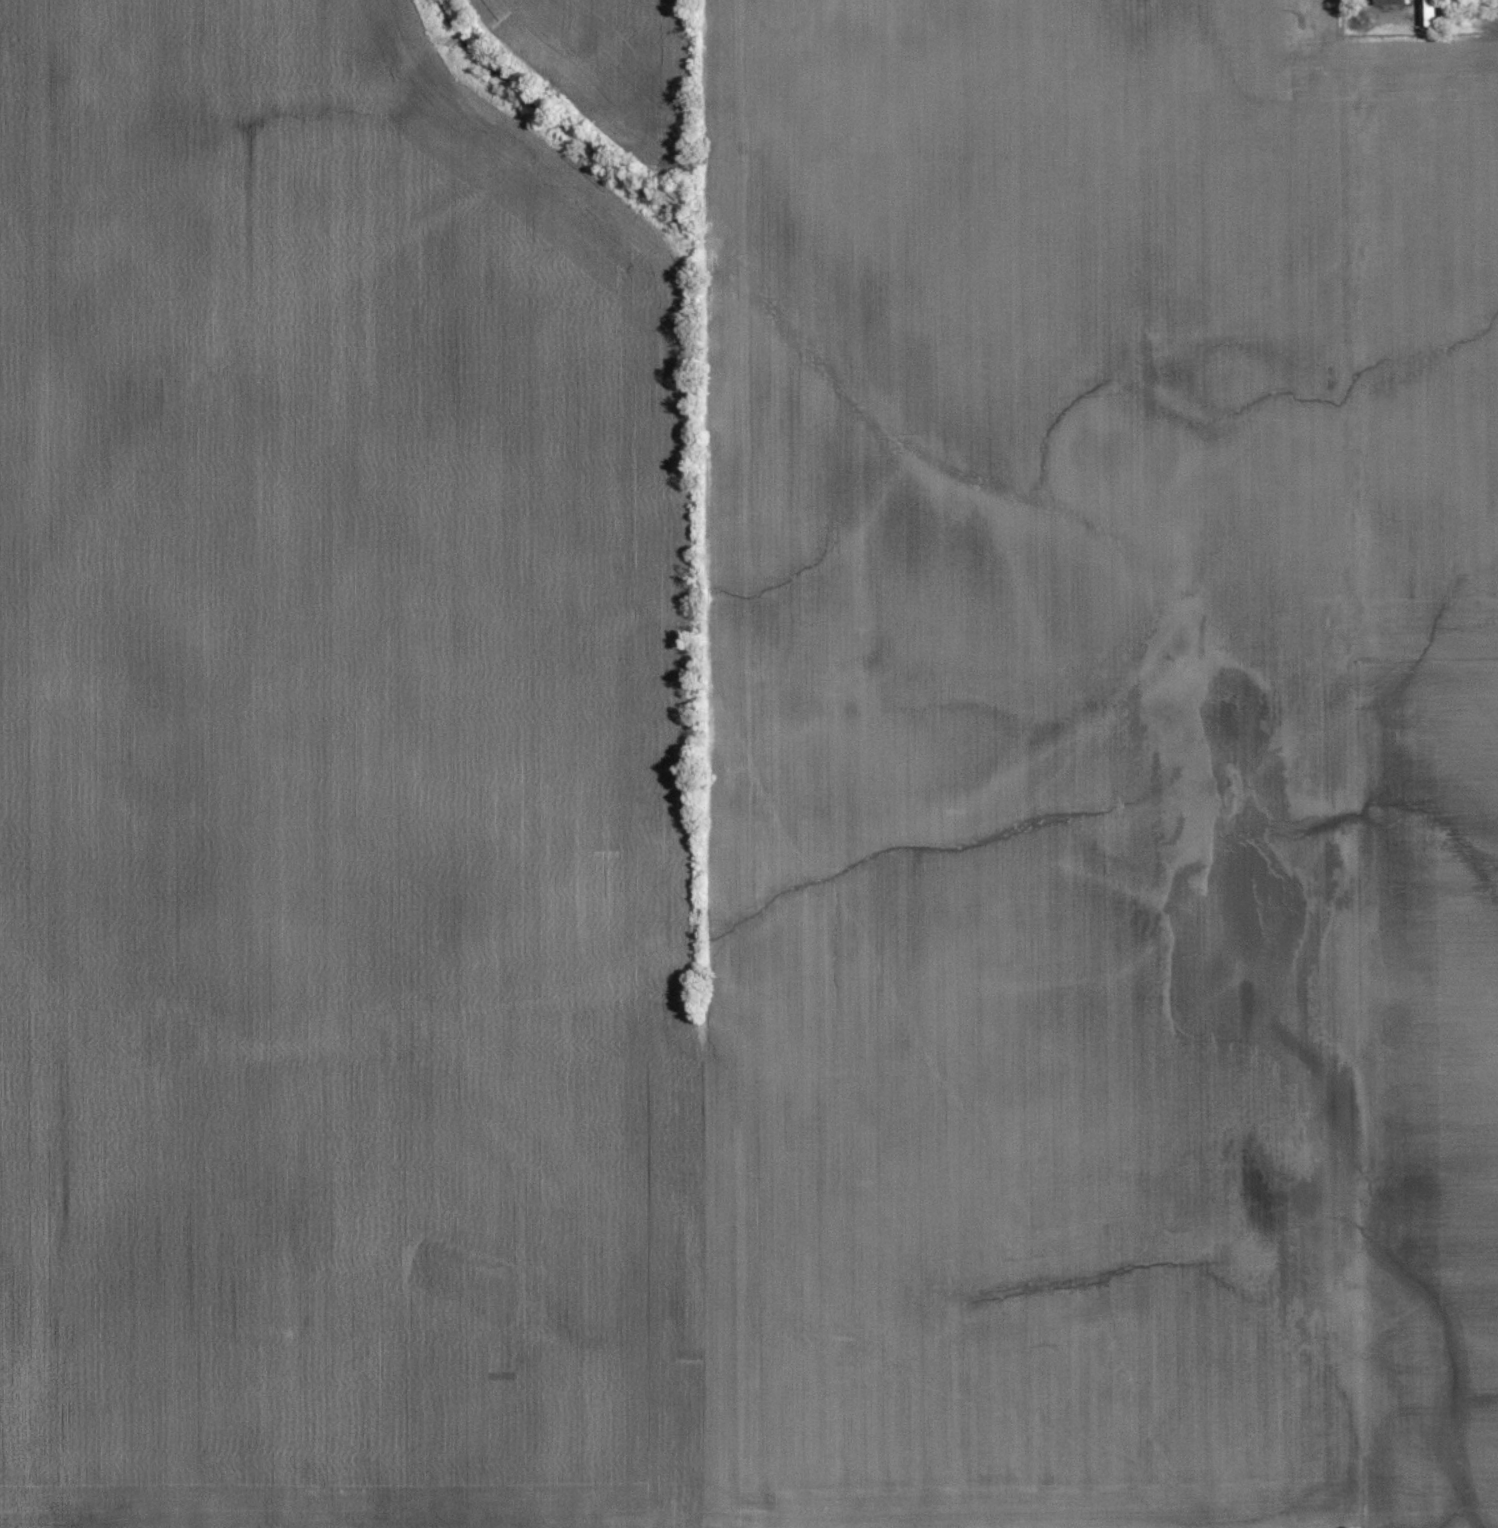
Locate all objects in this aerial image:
building: (1392, 1)
crop: (608, 63)
crop: (1026, 330)
crop: (1433, 344)
crop: (337, 791)
crop: (1032, 1104)

